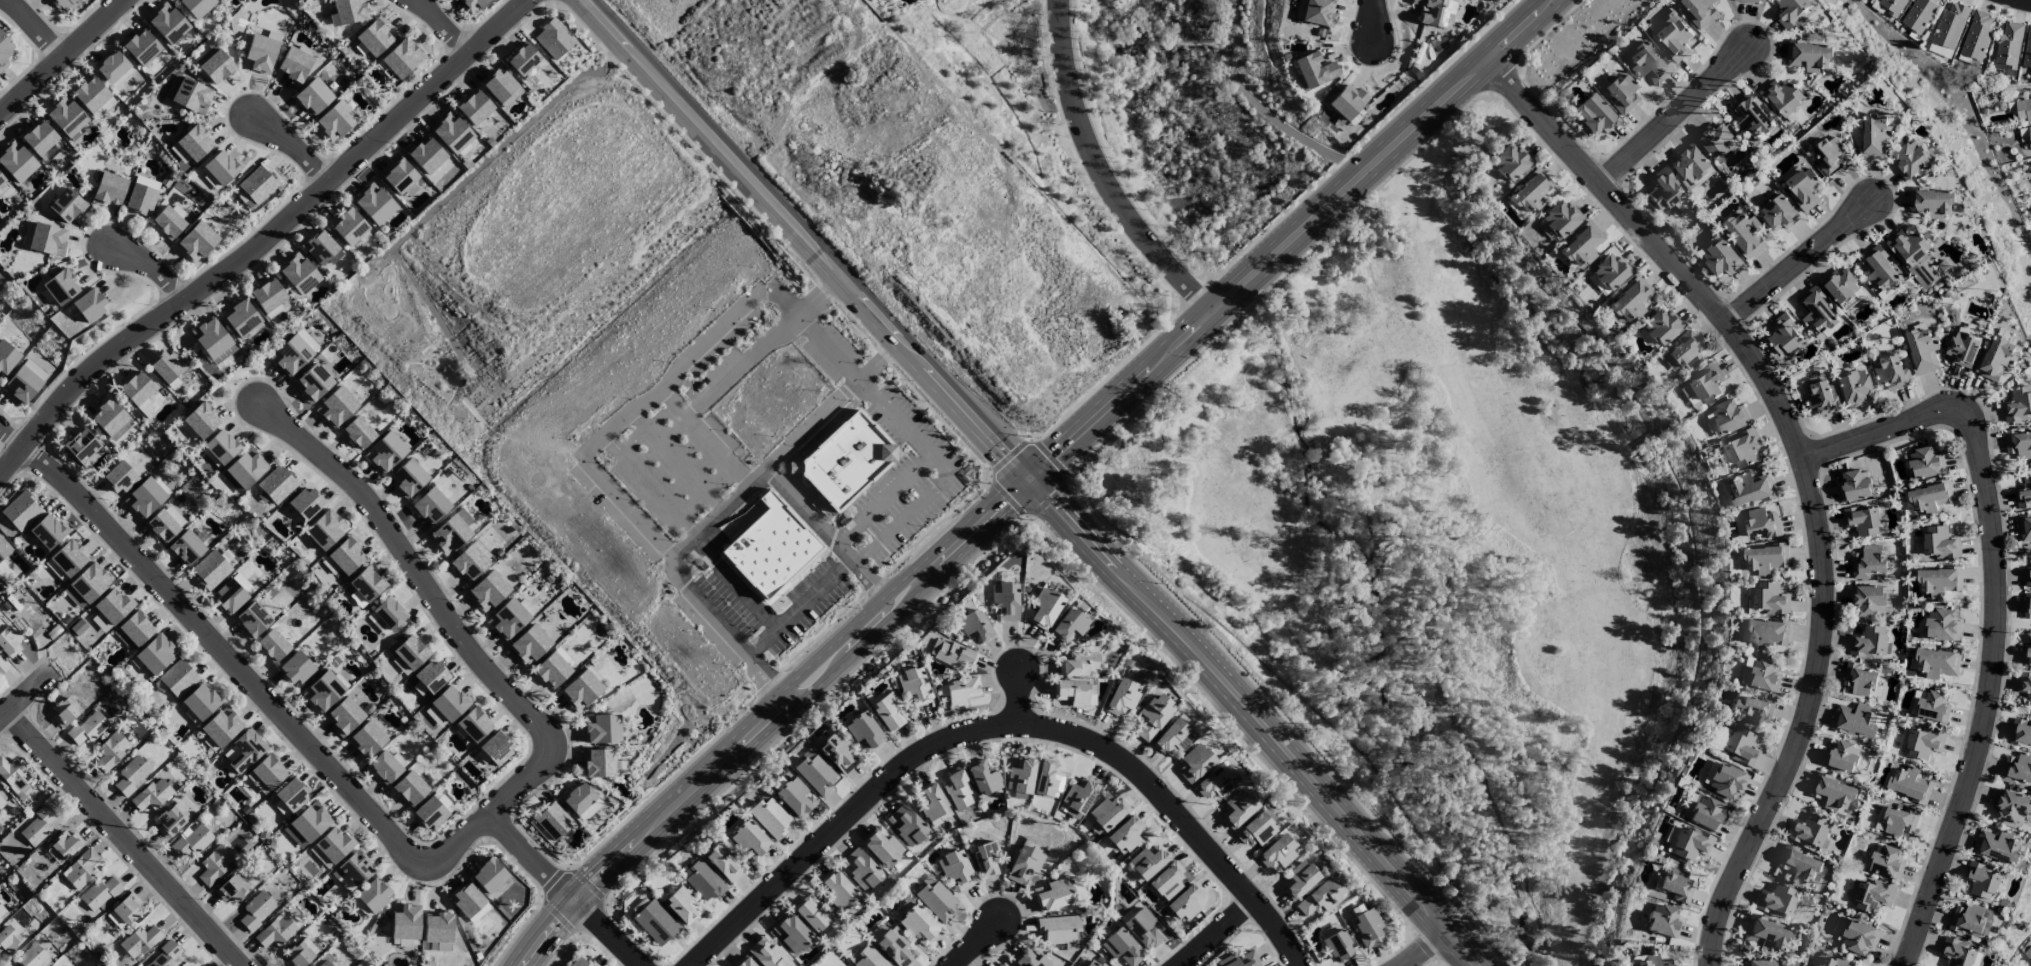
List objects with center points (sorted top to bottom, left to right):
building: (1747, 1)
road: (2018, 1)
building: (63, 4)
building: (474, 4)
building: (197, 6)
building: (1894, 7)
building: (348, 11)
building: (1435, 11)
building: (1316, 12)
building: (1699, 12)
building: (1791, 12)
building: (1919, 15)
road: (1377, 21)
building: (168, 23)
road: (37, 26)
road: (447, 26)
building: (1950, 26)
building: (1977, 36)
building: (374, 37)
building: (553, 39)
building: (1674, 40)
building: (2009, 45)
building: (141, 47)
building: (4, 50)
building: (2027, 50)
building: (1939, 51)
building: (260, 54)
road: (61, 57)
building: (1809, 57)
building: (402, 58)
building: (522, 59)
building: (1648, 63)
building: (215, 65)
building: (294, 65)
building: (114, 68)
building: (1314, 70)
building: (501, 87)
building: (1622, 93)
building: (91, 94)
building: (189, 94)
building: (314, 96)
building: (1781, 97)
building: (1346, 102)
building: (474, 107)
building: (104, 108)
building: (2023, 111)
building: (1594, 114)
road: (1678, 115)
building: (66, 116)
building: (1751, 116)
building: (336, 120)
building: (452, 132)
building: (2025, 135)
building: (1875, 136)
building: (42, 141)
building: (1715, 141)
building: (194, 142)
road: (294, 146)
building: (179, 153)
building: (427, 155)
building: (1830, 156)
building: (1911, 160)
building: (17, 161)
building: (1510, 161)
building: (1691, 164)
building: (221, 167)
road: (1103, 173)
building: (400, 176)
building: (1, 179)
building: (255, 186)
building: (109, 189)
building: (1804, 189)
building: (1663, 190)
building: (1531, 192)
building: (140, 199)
building: (1932, 203)
building: (374, 204)
building: (66, 205)
building: (1778, 213)
building: (1561, 218)
building: (168, 222)
building: (349, 226)
building: (1744, 234)
building: (44, 238)
road: (264, 240)
road: (803, 240)
building: (197, 241)
road: (1293, 241)
building: (1582, 245)
building: (323, 248)
building: (1719, 257)
building: (1913, 258)
road: (1803, 261)
road: (154, 268)
building: (1879, 269)
building: (298, 273)
building: (1610, 273)
building: (60, 286)
building: (1842, 290)
building: (268, 295)
building: (89, 304)
building: (1816, 311)
building: (241, 318)
building: (1661, 326)
building: (1784, 336)
building: (213, 340)
building: (308, 340)
building: (1962, 349)
building: (1686, 350)
building: (1922, 351)
building: (291, 355)
building: (7, 357)
building: (1996, 358)
building: (165, 366)
building: (1891, 373)
building: (313, 382)
building: (1706, 383)
building: (22, 384)
building: (136, 388)
building: (1855, 388)
building: (1821, 399)
building: (2018, 406)
building: (336, 407)
building: (1729, 417)
building: (110, 419)
building: (201, 420)
road: (813, 424)
building: (358, 433)
road: (918, 441)
building: (2018, 443)
building: (221, 446)
building: (83, 447)
building: (1742, 449)
building: (386, 451)
building: (847, 459)
building: (1924, 464)
road: (590, 465)
building: (246, 468)
road: (1805, 469)
building: (119, 477)
building: (408, 477)
building: (230, 482)
building: (277, 484)
building: (1855, 486)
building: (1751, 490)
building: (2024, 494)
building: (145, 498)
building: (1930, 498)
building: (306, 503)
building: (430, 505)
building: (21, 511)
road: (717, 514)
road: (808, 515)
building: (1862, 521)
building: (165, 523)
building: (1762, 524)
building: (325, 528)
building: (2025, 528)
building: (48, 531)
building: (452, 532)
park: (1457, 543)
building: (1940, 543)
building: (186, 548)
building: (3, 549)
building: (771, 549)
building: (343, 557)
building: (1765, 559)
building: (66, 560)
building: (469, 562)
building: (1868, 562)
building: (211, 569)
building: (2028, 578)
building: (90, 582)
building: (1939, 582)
building: (367, 584)
road: (897, 586)
building: (488, 590)
building: (233, 593)
building: (357, 599)
road: (912, 599)
building: (1771, 599)
building: (1005, 601)
building: (1868, 601)
building: (113, 605)
building: (2027, 606)
building: (1044, 608)
road: (1994, 608)
road: (441, 610)
road: (800, 611)
building: (386, 616)
building: (508, 619)
building: (253, 620)
building: (101, 622)
building: (1069, 625)
building: (974, 626)
building: (1942, 626)
building: (134, 630)
road: (859, 634)
building: (1765, 634)
building: (10, 642)
building: (1869, 642)
building: (529, 644)
building: (272, 645)
building: (156, 654)
building: (409, 654)
building: (953, 654)
building: (2027, 655)
building: (1080, 663)
building: (1937, 663)
building: (2, 667)
building: (296, 667)
building: (552, 670)
building: (1763, 676)
building: (179, 678)
building: (429, 678)
building: (1859, 680)
building: (913, 685)
building: (2025, 685)
building: (581, 690)
building: (323, 691)
building: (960, 691)
building: (1072, 692)
road: (27, 695)
road: (1019, 695)
building: (1091, 695)
building: (1122, 697)
building: (201, 701)
building: (449, 703)
building: (1933, 707)
building: (886, 710)
building: (1753, 710)
building: (65, 711)
building: (344, 715)
building: (435, 716)
building: (1154, 716)
road: (1259, 719)
building: (1854, 720)
building: (474, 724)
road: (1003, 725)
building: (222, 726)
building: (88, 728)
building: (601, 728)
building: (863, 731)
building: (2021, 732)
building: (1173, 737)
building: (366, 739)
building: (1924, 743)
building: (1740, 746)
building: (497, 747)
building: (111, 750)
building: (246, 750)
road: (314, 753)
building: (838, 753)
building: (1842, 756)
building: (1195, 762)
building: (599, 763)
building: (384, 767)
building: (2017, 769)
building: (269, 772)
building: (14, 774)
building: (132, 774)
building: (815, 774)
building: (983, 778)
building: (1021, 778)
building: (1048, 779)
building: (1727, 781)
building: (1214, 782)
building: (1908, 785)
building: (410, 788)
building: (958, 789)
building: (152, 794)
building: (291, 794)
building: (1833, 794)
building: (1079, 795)
building: (795, 797)
building: (578, 798)
building: (443, 801)
building: (2, 802)
building: (932, 802)
building: (2012, 807)
building: (1238, 809)
building: (1108, 812)
building: (1703, 812)
building: (429, 813)
building: (770, 817)
building: (552, 820)
building: (1899, 821)
building: (170, 822)
building: (307, 825)
building: (907, 825)
building: (38, 826)
road: (647, 830)
building: (1255, 830)
building: (1810, 831)
building: (1127, 833)
road: (125, 839)
building: (750, 840)
building: (190, 841)
building: (1688, 843)
building: (67, 844)
building: (331, 847)
building: (1998, 847)
building: (883, 848)
building: (1277, 851)
building: (55, 855)
building: (986, 859)
building: (725, 861)
building: (1148, 861)
building: (1886, 862)
building: (1025, 863)
building: (214, 864)
building: (1799, 865)
building: (82, 868)
building: (355, 868)
building: (861, 868)
building: (956, 870)
building: (489, 875)
building: (1298, 879)
building: (343, 880)
building: (703, 881)
building: (1167, 881)
building: (1982, 881)
building: (1677, 884)
building: (231, 888)
building: (837, 889)
building: (101, 893)
building: (373, 894)
building: (1054, 895)
building: (1871, 895)
building: (1319, 897)
building: (1775, 900)
building: (937, 901)
building: (1185, 902)
building: (469, 903)
building: (681, 904)
building: (2, 909)
building: (124, 910)
building: (256, 910)
building: (813, 913)
building: (0, 919)
building: (1968, 919)
building: (405, 921)
building: (1663, 921)
building: (655, 923)
building: (918, 924)
building: (438, 927)
building: (1368, 928)
building: (1058, 929)
building: (1143, 929)
building: (276, 931)
road: (1218, 931)
building: (791, 933)
building: (1766, 933)
building: (1860, 938)
building: (8, 939)
building: (139, 941)
road: (976, 941)
building: (402, 942)
building: (440, 946)
building: (1338, 946)
building: (896, 947)
building: (1121, 947)
road: (1425, 947)
building: (768, 952)
building: (1956, 953)
building: (298, 955)
building: (2028, 955)
building: (165, 956)
building: (32, 957)
building: (869, 958)
building: (1029, 959)
building: (1239, 960)
building: (583, 962)
building: (744, 962)
building: (1834, 962)
building: (324, 963)
building: (1091, 963)
building: (1758, 963)
building: (1107, 965)

